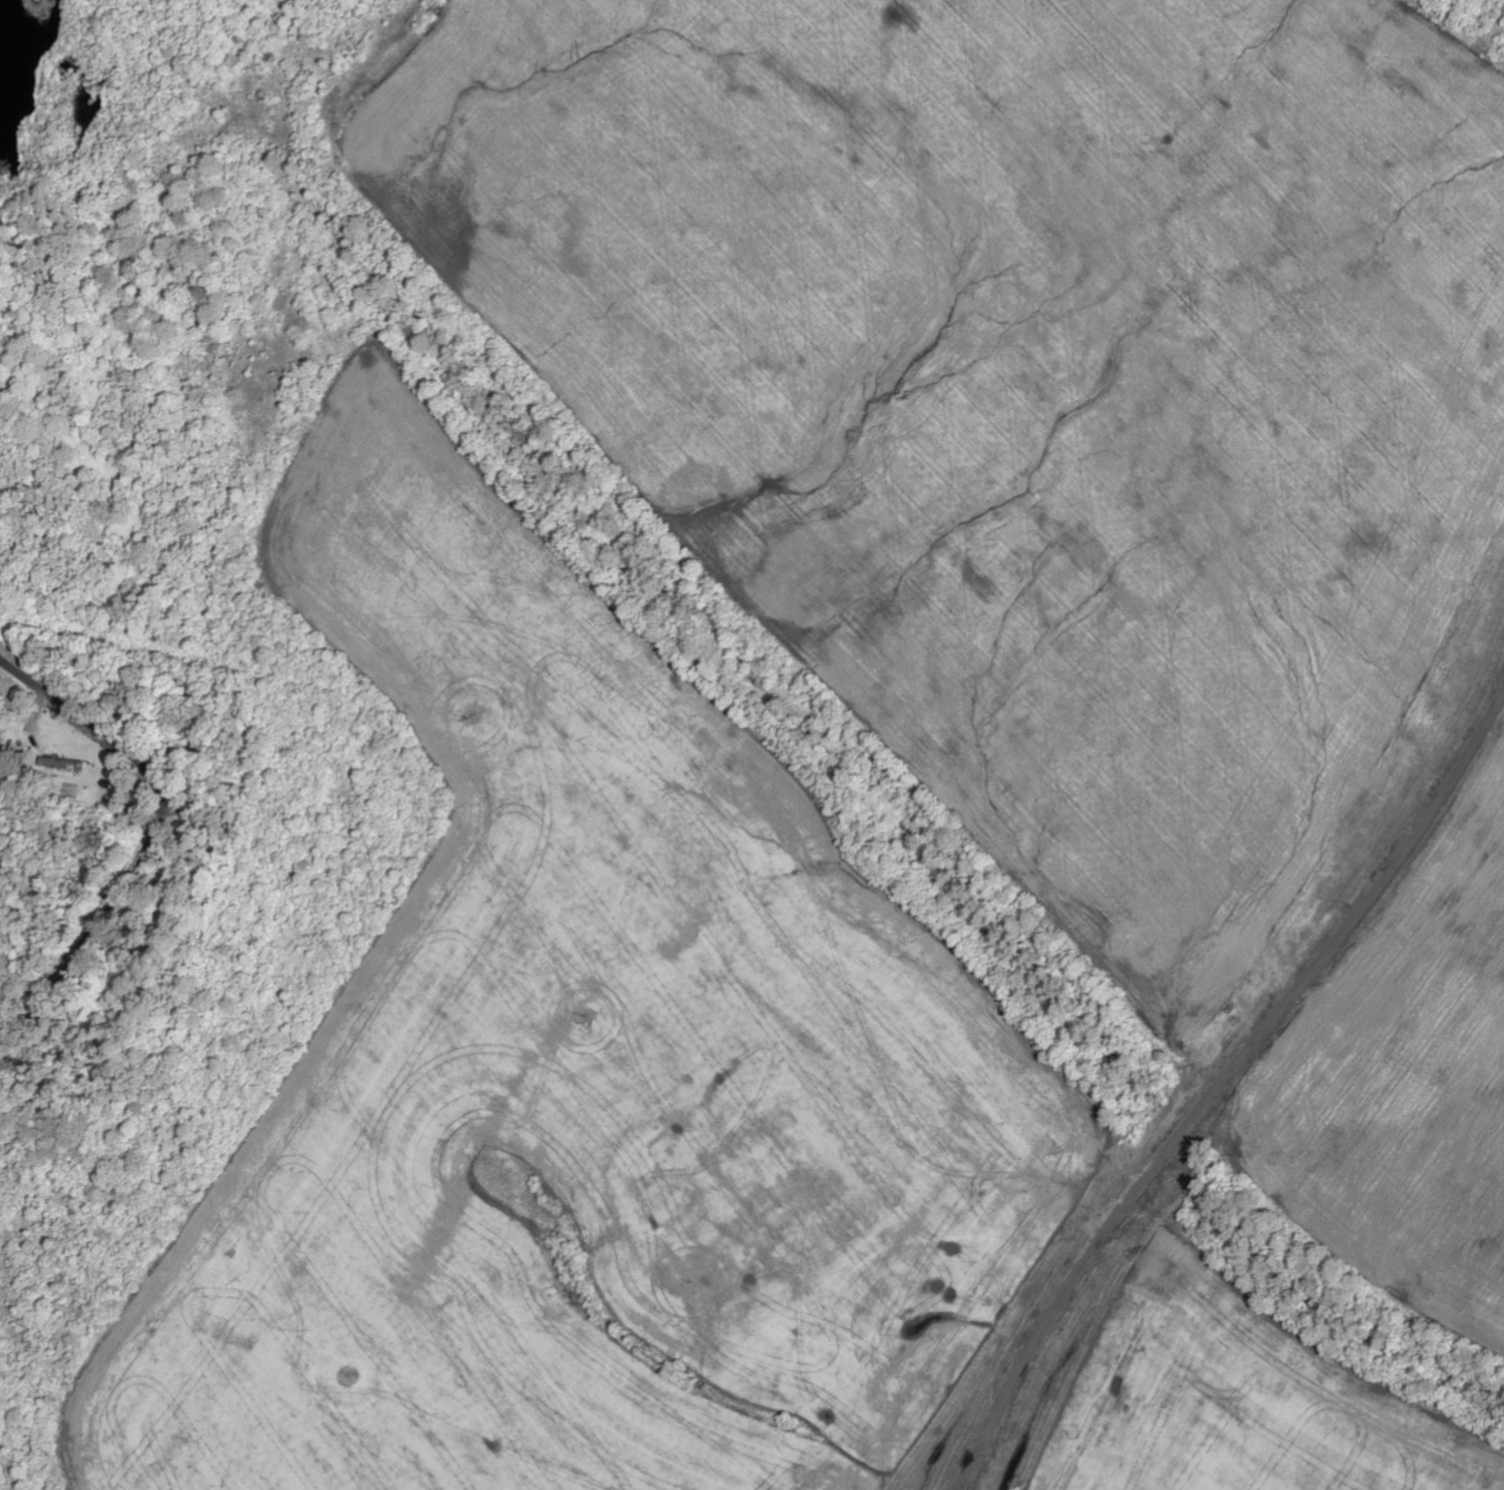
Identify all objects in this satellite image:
road: (146, 847)
road: (1232, 1075)

